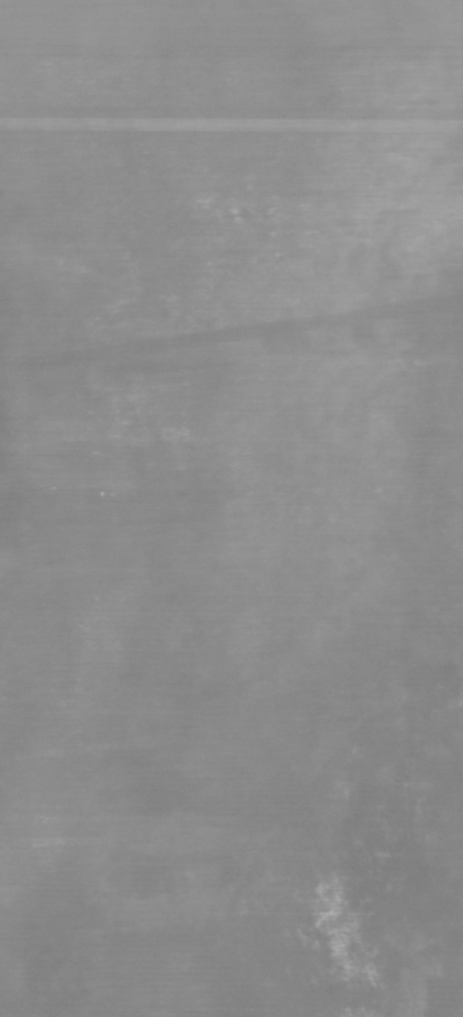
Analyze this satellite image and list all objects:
crop: (231, 508)

